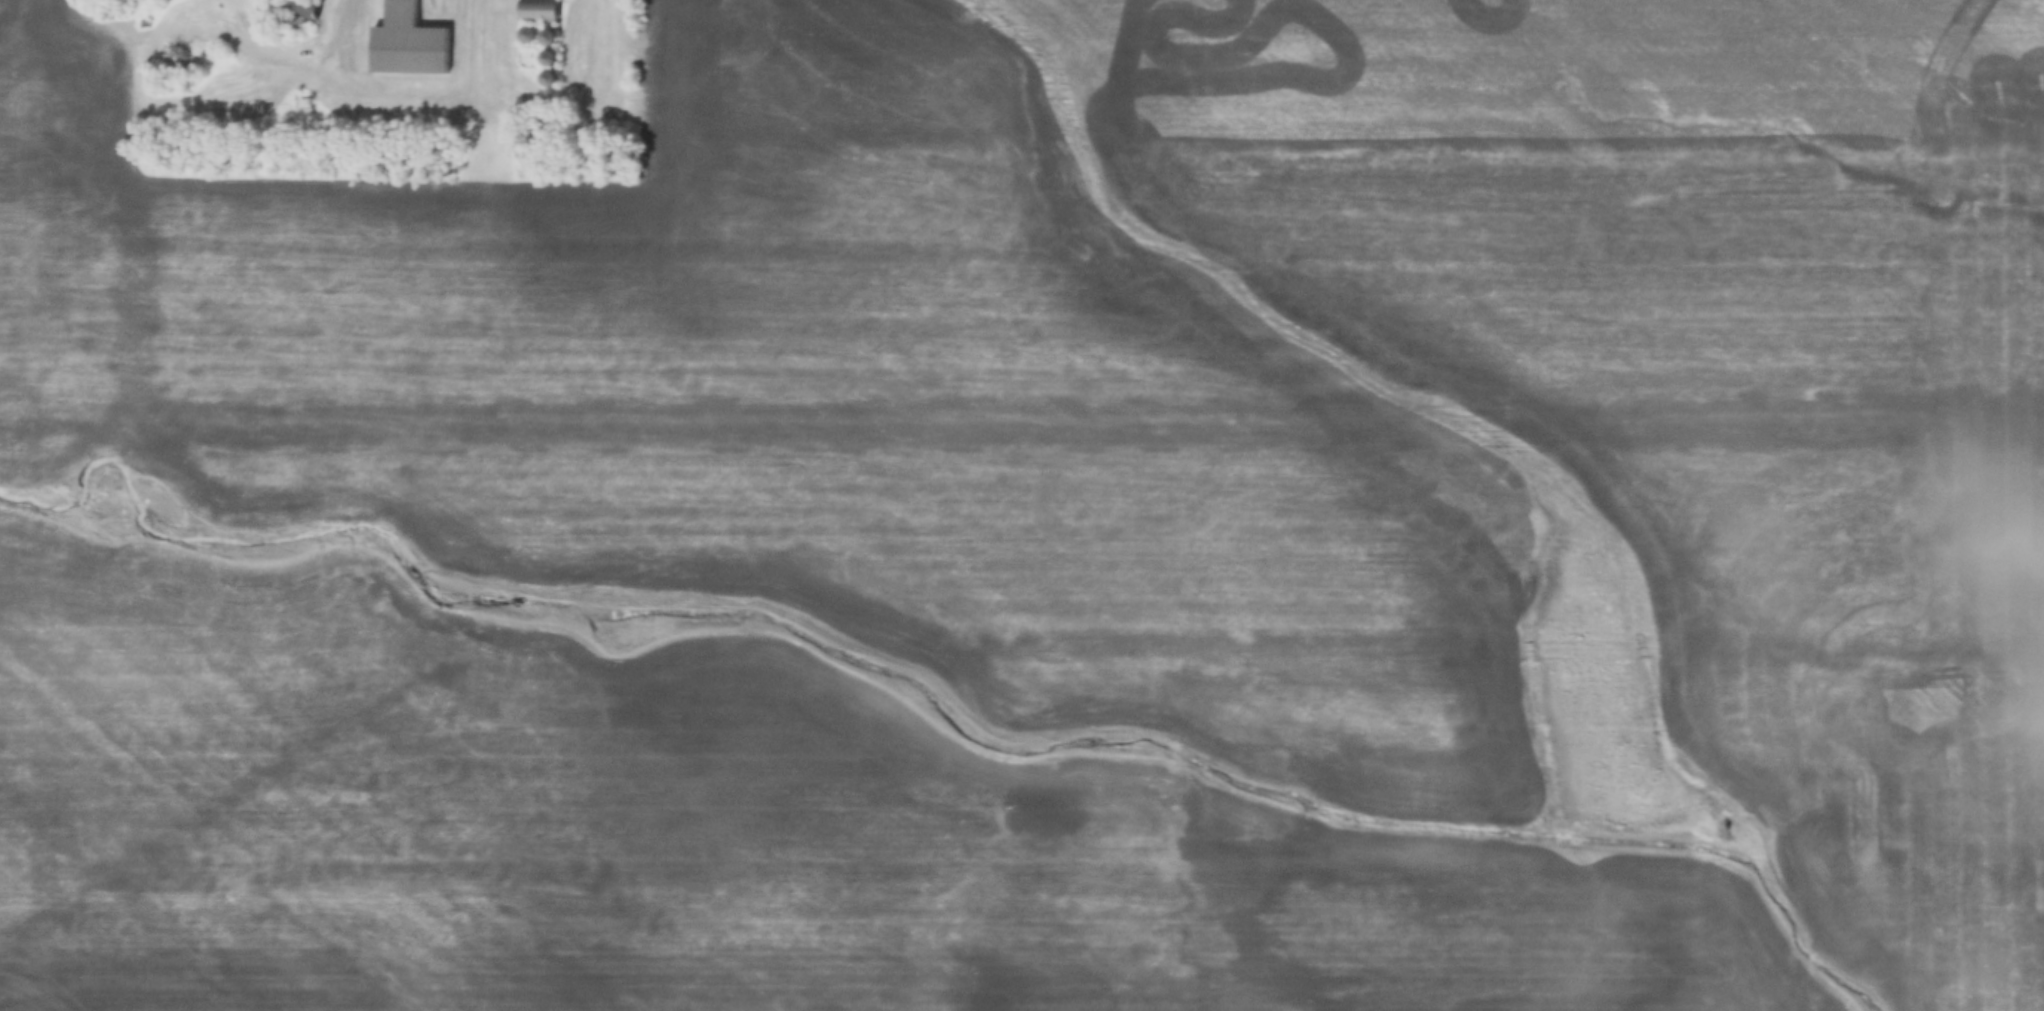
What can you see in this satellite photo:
building: (287, 9)
building: (536, 12)
road: (340, 33)
building: (405, 45)
road: (442, 88)

